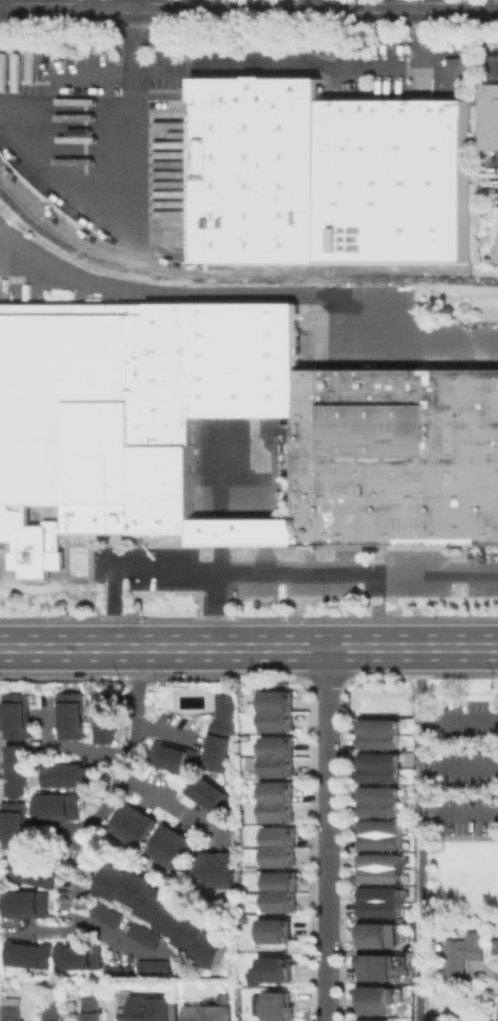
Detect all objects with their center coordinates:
road: (21, 4)
road: (249, 7)
road: (424, 36)
road: (129, 39)
road: (495, 64)
road: (135, 70)
building: (385, 93)
building: (489, 116)
building: (328, 176)
building: (497, 261)
railway: (236, 280)
road: (246, 295)
railway: (183, 298)
building: (76, 308)
building: (227, 425)
building: (98, 434)
building: (37, 536)
building: (174, 539)
road: (267, 569)
road: (216, 608)
road: (249, 647)
building: (227, 704)
building: (274, 709)
building: (20, 715)
building: (73, 715)
building: (108, 717)
building: (380, 733)
road: (72, 746)
building: (219, 747)
building: (176, 756)
building: (275, 757)
road: (124, 759)
building: (380, 768)
building: (21, 769)
building: (73, 775)
building: (210, 794)
building: (380, 802)
building: (276, 803)
building: (61, 806)
building: (19, 824)
building: (134, 825)
road: (418, 833)
road: (325, 834)
building: (380, 836)
building: (172, 846)
building: (278, 852)
road: (80, 867)
building: (38, 870)
building: (217, 870)
building: (381, 871)
building: (279, 898)
building: (29, 904)
building: (380, 905)
building: (105, 910)
building: (166, 912)
building: (280, 932)
road: (107, 934)
building: (146, 935)
building: (377, 936)
building: (30, 952)
building: (82, 955)
building: (461, 955)
building: (159, 968)
building: (379, 969)
building: (118, 970)
building: (280, 971)
building: (378, 1002)
building: (147, 1006)
building: (14, 1008)
building: (55, 1008)
building: (214, 1008)
road: (496, 1008)
building: (282, 1009)
building: (92, 1010)
building: (370, 1020)

